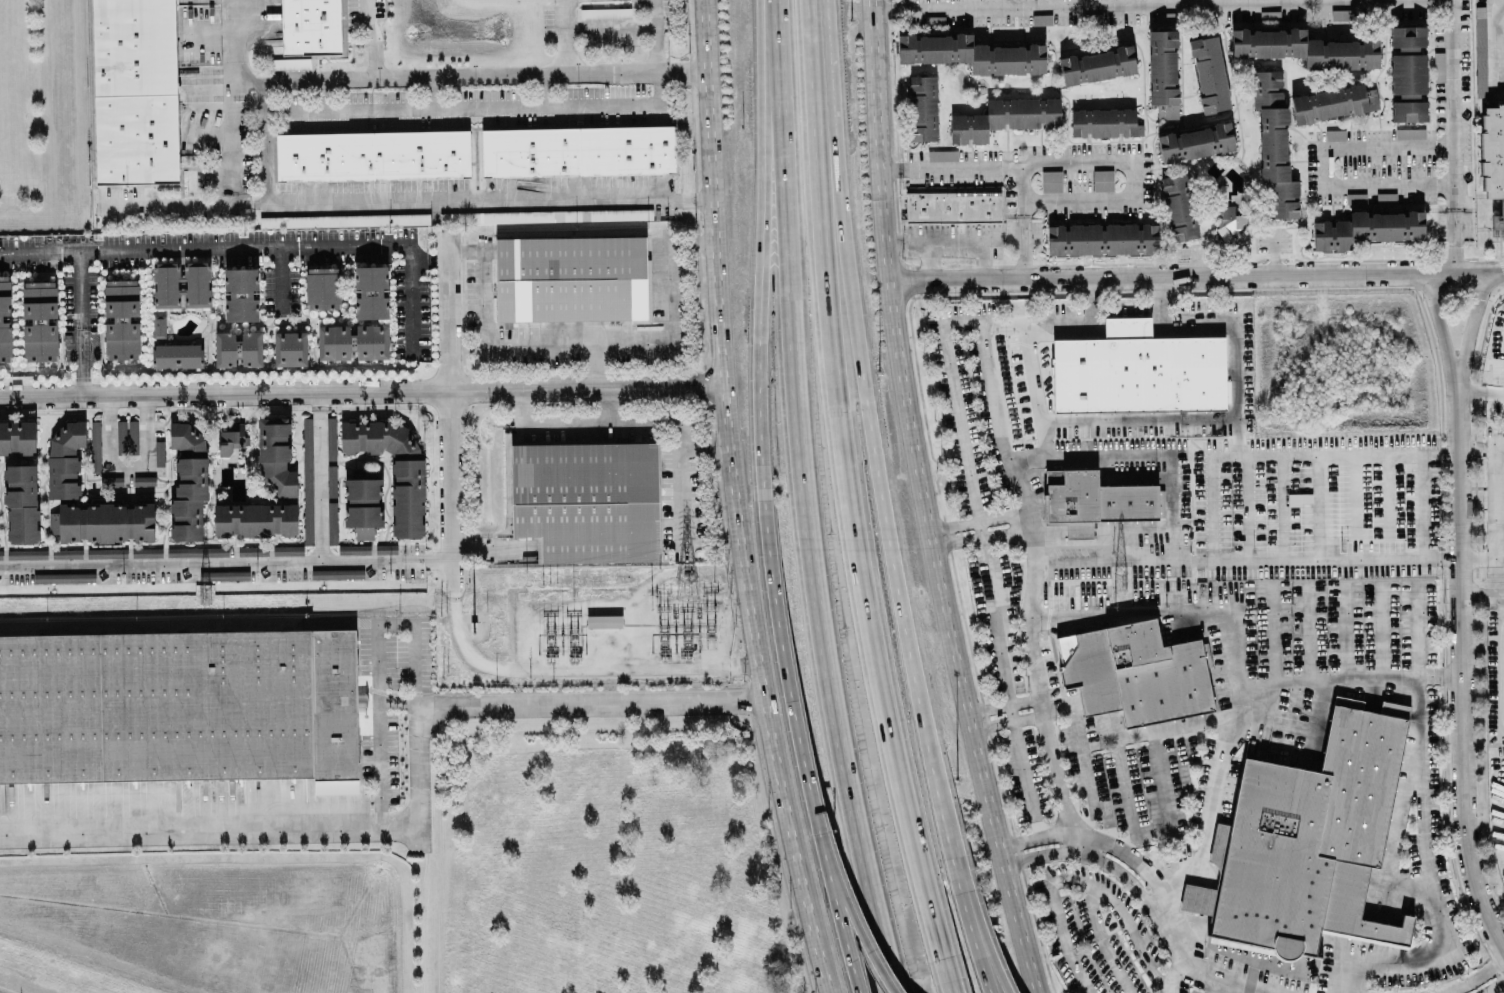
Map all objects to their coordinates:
road: (1032, 4)
building: (605, 12)
building: (1341, 14)
building: (1042, 19)
building: (310, 26)
road: (622, 27)
road: (564, 35)
road: (371, 37)
road: (236, 39)
road: (1495, 40)
building: (134, 46)
road: (654, 48)
building: (1305, 48)
building: (972, 53)
building: (291, 63)
building: (1097, 64)
building: (1163, 72)
building: (1209, 73)
building: (1409, 73)
road: (465, 74)
road: (658, 86)
road: (546, 89)
road: (431, 91)
building: (1329, 103)
road: (460, 106)
building: (924, 106)
road: (463, 116)
road: (484, 116)
building: (1005, 117)
building: (1103, 122)
road: (483, 126)
building: (1410, 133)
road: (1456, 135)
building: (136, 137)
road: (264, 140)
road: (228, 141)
building: (1195, 142)
building: (1275, 146)
building: (579, 150)
building: (373, 155)
building: (942, 155)
road: (1089, 157)
building: (1493, 160)
road: (475, 162)
road: (1327, 162)
building: (1103, 179)
building: (1051, 180)
building: (1355, 197)
road: (402, 200)
building: (1178, 206)
building: (953, 207)
building: (546, 215)
road: (1035, 219)
building: (344, 220)
building: (1368, 229)
building: (1102, 239)
road: (951, 240)
road: (205, 247)
road: (760, 251)
road: (431, 258)
road: (928, 260)
road: (1197, 275)
road: (281, 276)
building: (571, 278)
building: (181, 285)
road: (1088, 285)
road: (1156, 285)
building: (323, 288)
building: (370, 292)
building: (241, 294)
road: (412, 296)
road: (1157, 310)
road: (1088, 311)
building: (5, 318)
building: (121, 319)
building: (40, 321)
road: (81, 322)
road: (488, 326)
road: (1122, 326)
building: (159, 327)
road: (943, 327)
road: (670, 330)
building: (353, 341)
building: (238, 348)
building: (290, 348)
road: (473, 348)
building: (177, 355)
building: (1137, 371)
road: (359, 389)
road: (1482, 389)
road: (452, 396)
road: (865, 400)
road: (605, 402)
road: (1041, 412)
road: (1224, 414)
road: (613, 419)
building: (17, 436)
building: (127, 436)
building: (231, 437)
building: (331, 437)
road: (1483, 444)
road: (1371, 451)
building: (159, 452)
building: (71, 456)
building: (275, 457)
road: (128, 464)
building: (394, 466)
road: (320, 476)
building: (189, 480)
building: (331, 480)
road: (1425, 485)
road: (843, 489)
road: (681, 490)
road: (799, 494)
building: (588, 500)
road: (730, 500)
building: (1094, 500)
road: (926, 501)
building: (21, 503)
road: (1274, 504)
building: (363, 505)
road: (1170, 507)
building: (255, 519)
road: (973, 520)
building: (106, 522)
building: (332, 522)
road: (977, 528)
building: (308, 533)
road: (975, 536)
road: (491, 545)
building: (288, 549)
building: (354, 549)
building: (0, 554)
road: (1393, 555)
road: (1482, 557)
road: (1219, 558)
road: (1126, 559)
road: (226, 563)
building: (336, 574)
power tower: (1119, 582)
power tower: (686, 585)
road: (1483, 590)
power tower: (208, 595)
power tower: (663, 607)
power tower: (708, 607)
road: (1462, 609)
road: (1029, 610)
road: (1177, 610)
road: (995, 617)
building: (607, 620)
power substation: (584, 624)
power tower: (551, 630)
power tower: (572, 630)
road: (1308, 630)
road: (1344, 630)
road: (1381, 630)
road: (1416, 631)
road: (1273, 634)
road: (376, 662)
road: (785, 663)
road: (562, 669)
building: (1135, 672)
road: (1501, 675)
road: (1402, 677)
road: (397, 700)
road: (1004, 704)
road: (588, 705)
building: (179, 708)
road: (1010, 712)
road: (1007, 720)
road: (1075, 726)
road: (1153, 737)
road: (1120, 760)
road: (1054, 770)
road: (416, 779)
road: (207, 828)
road: (1092, 839)
building: (1308, 840)
road: (952, 841)
road: (948, 843)
road: (1086, 855)
road: (838, 908)
road: (852, 910)
road: (1058, 918)
road: (987, 940)
road: (974, 942)
road: (1104, 942)
road: (1138, 949)
road: (1183, 949)
road: (1469, 979)
road: (950, 981)
road: (1039, 981)
road: (1234, 985)
road: (1494, 986)
road: (890, 987)
road: (1170, 987)

